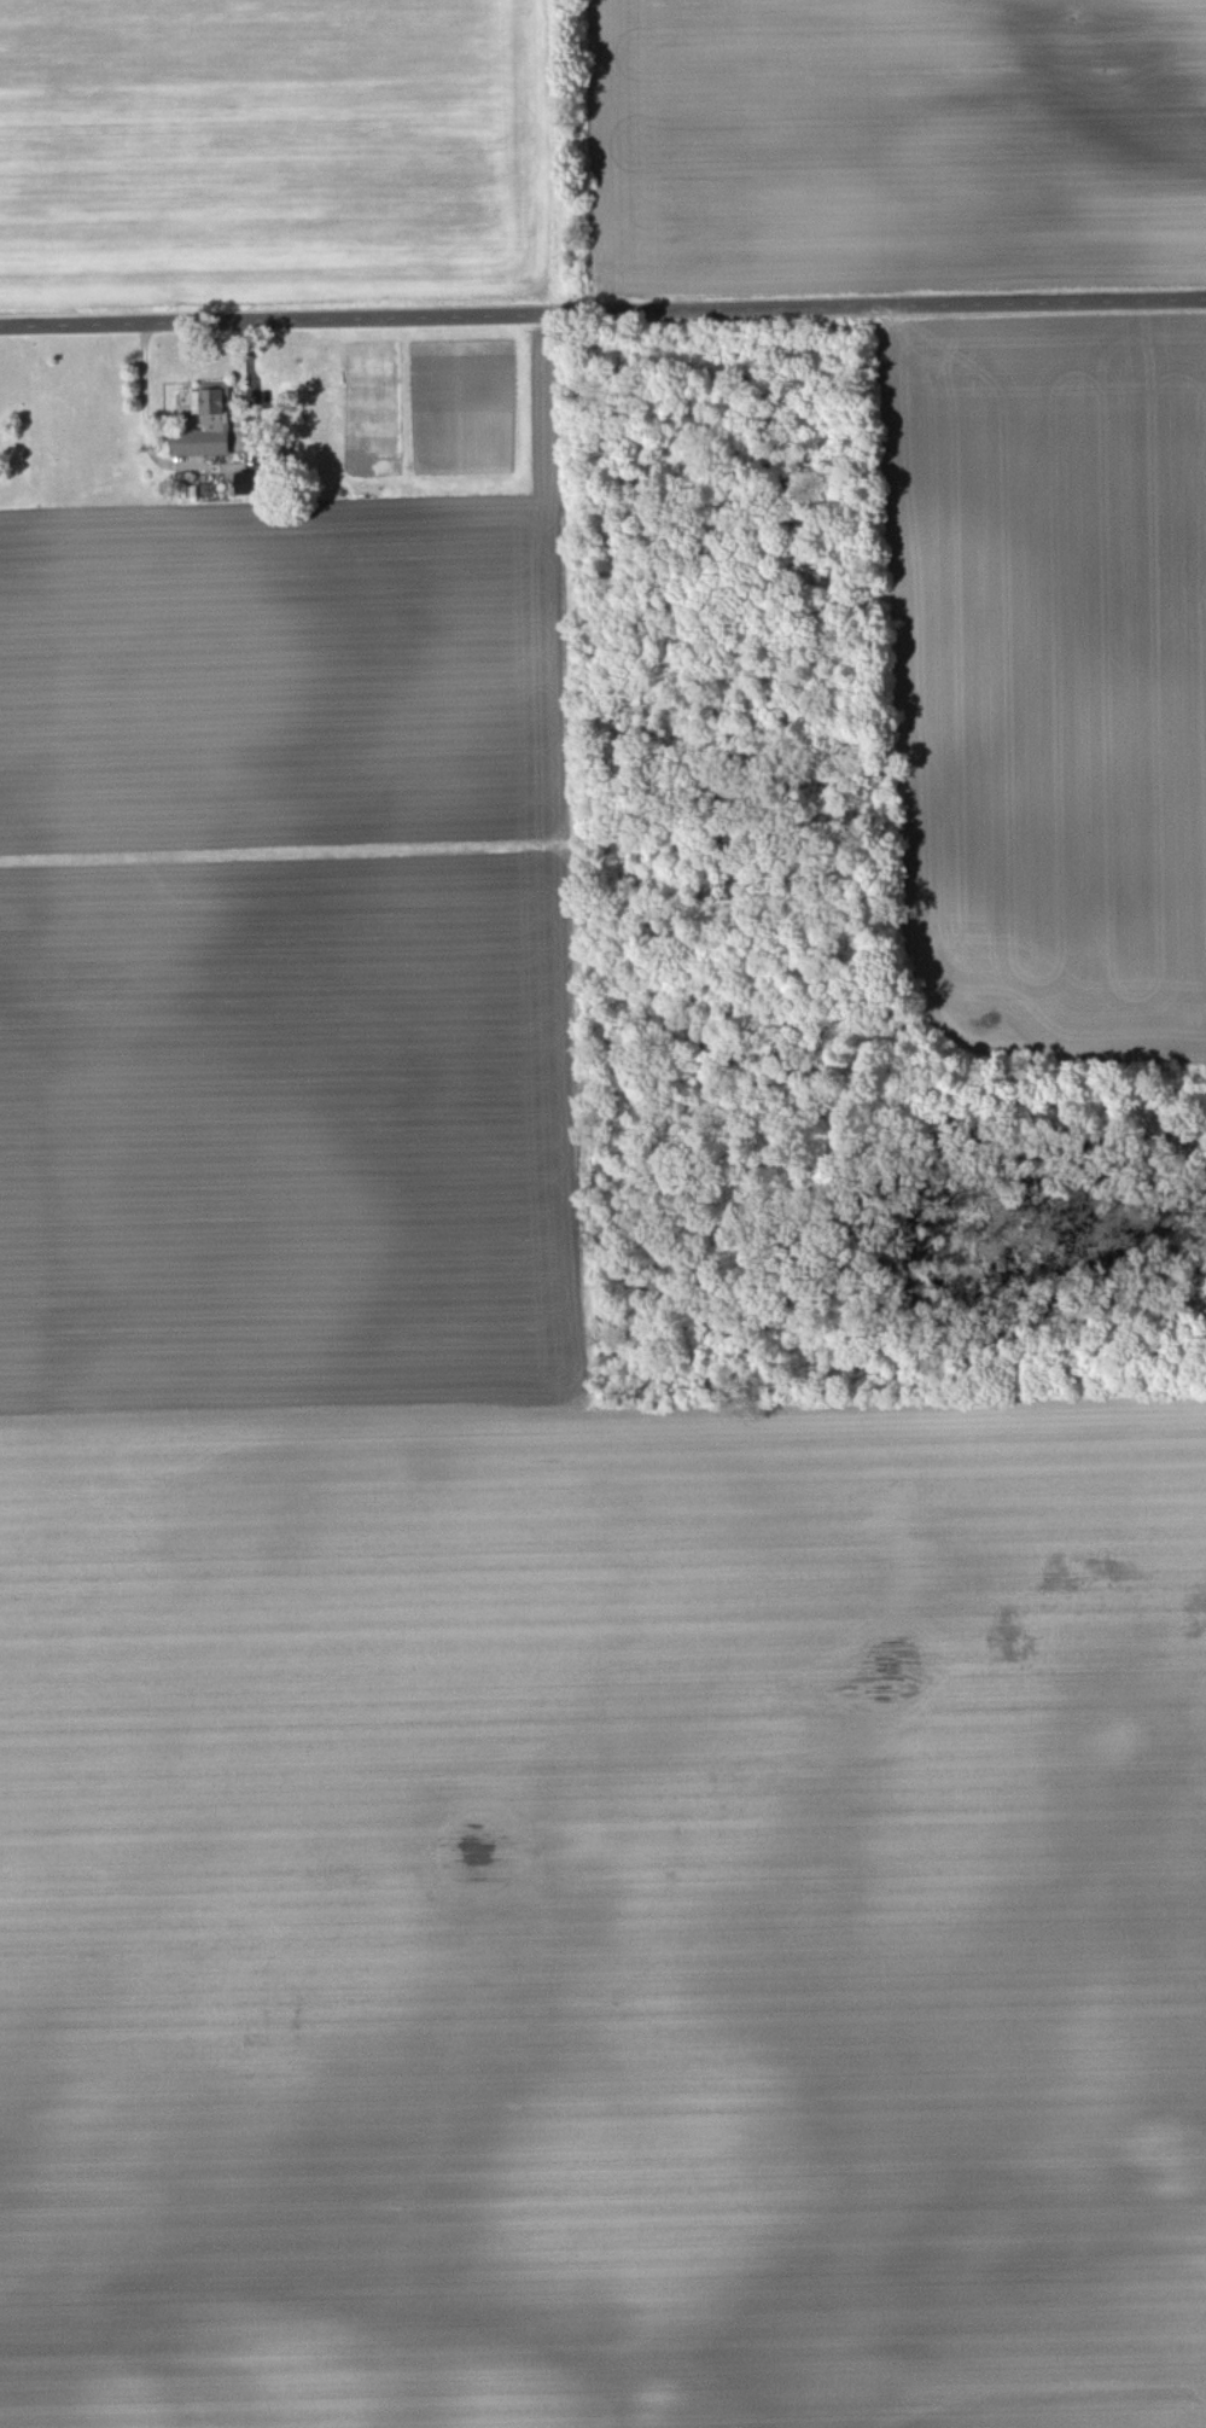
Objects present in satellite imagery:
road: (602, 313)
road: (144, 425)
building: (206, 425)

